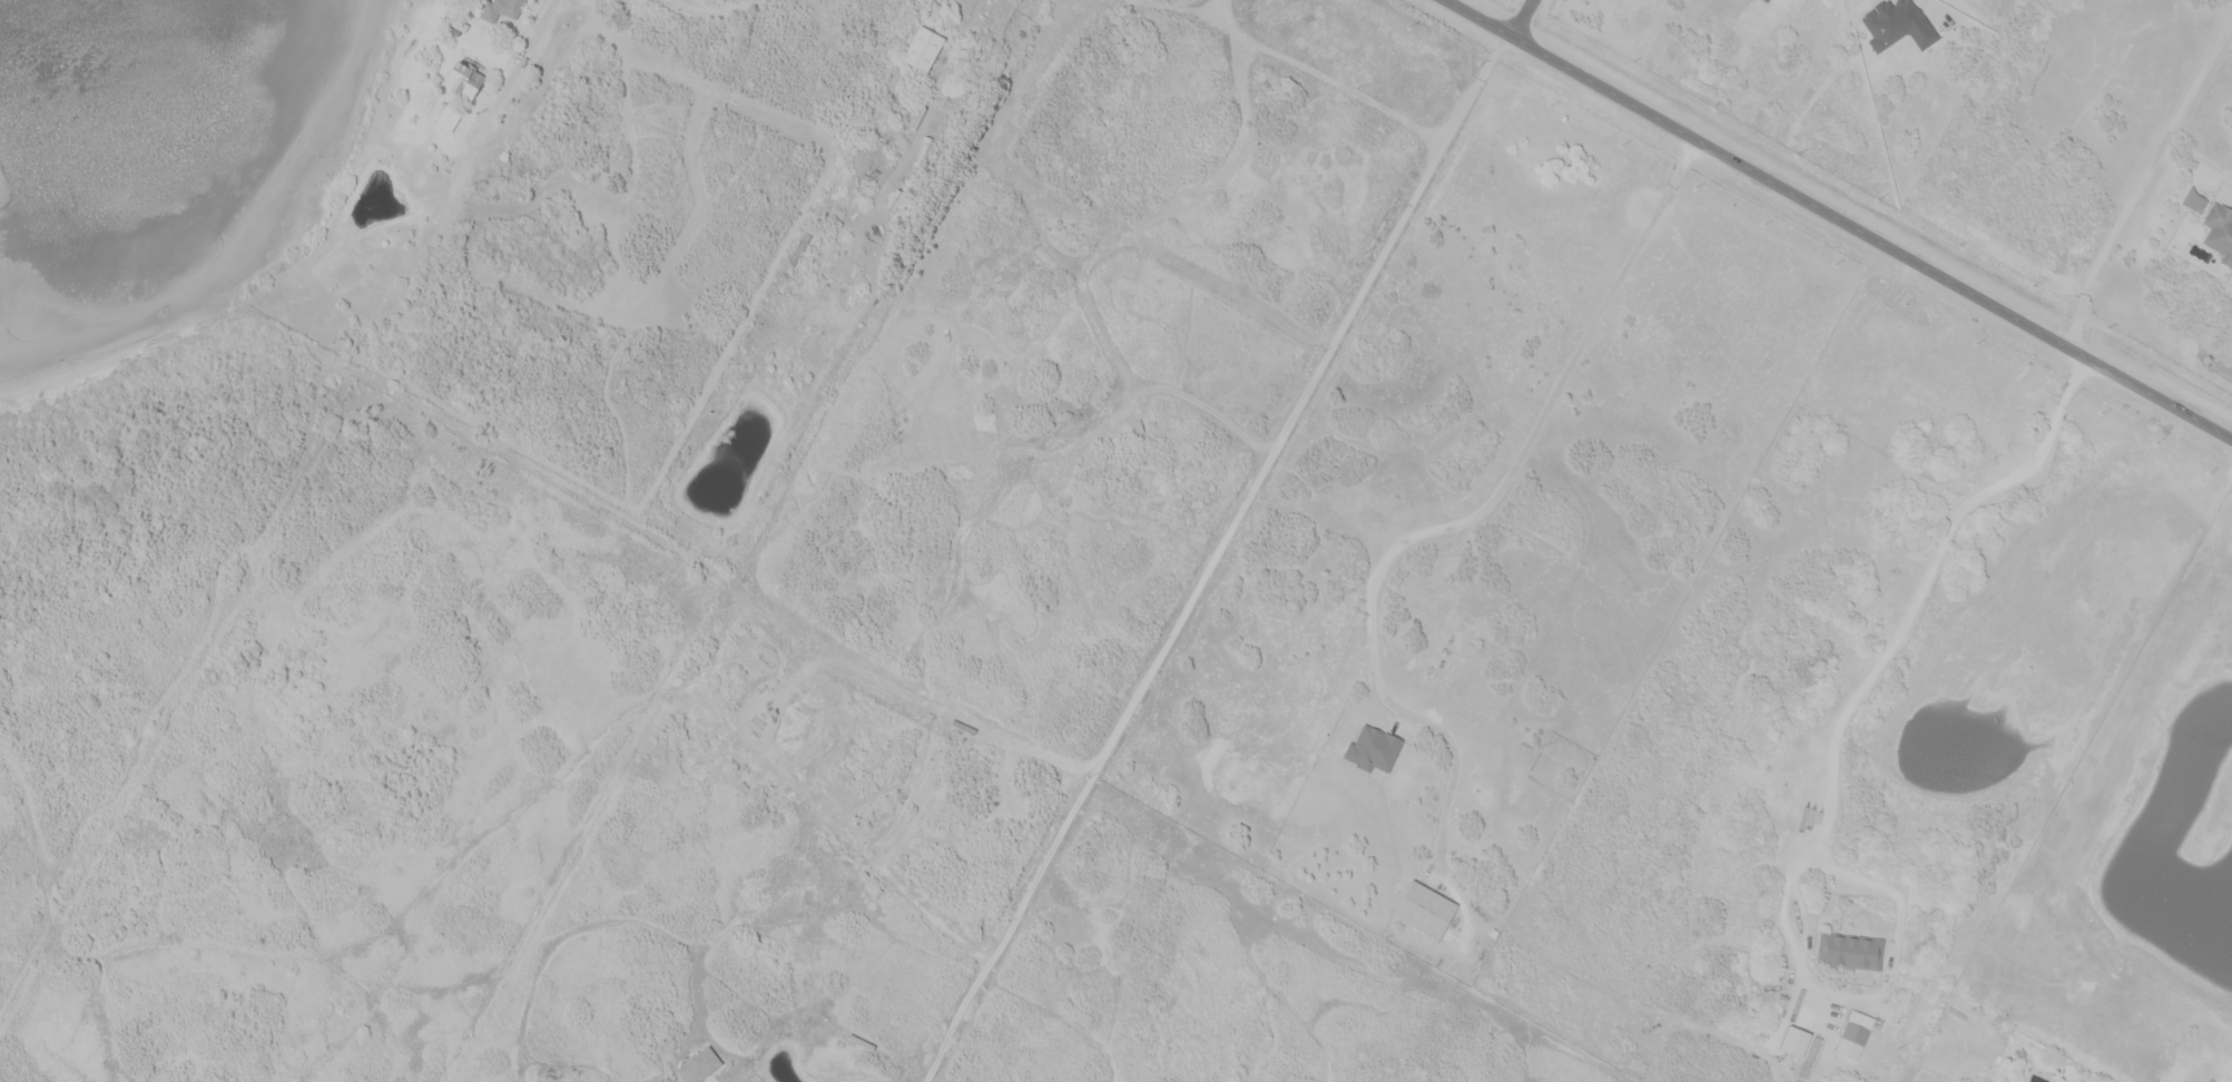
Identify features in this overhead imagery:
building: (503, 9)
road: (1939, 12)
road: (1522, 18)
building: (924, 48)
building: (468, 78)
building: (2197, 203)
road: (1839, 219)
building: (2220, 232)
building: (1374, 749)
road: (1829, 770)
building: (1425, 908)
building: (1850, 951)
building: (1856, 1026)
building: (699, 1065)

